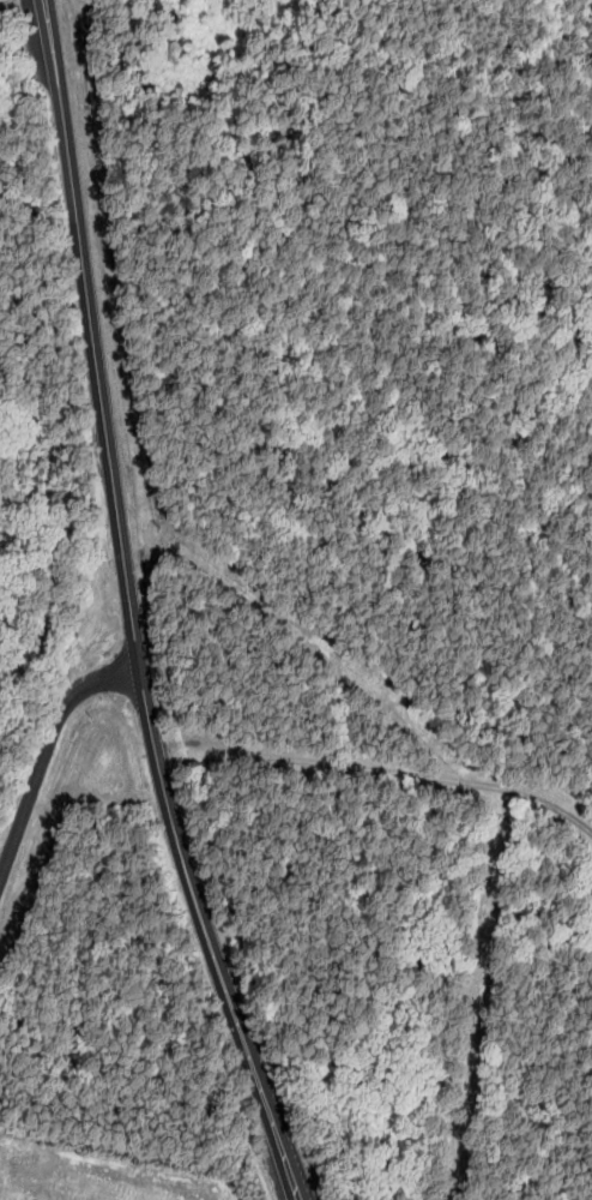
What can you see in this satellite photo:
road: (129, 608)
road: (46, 754)
road: (264, 1181)

